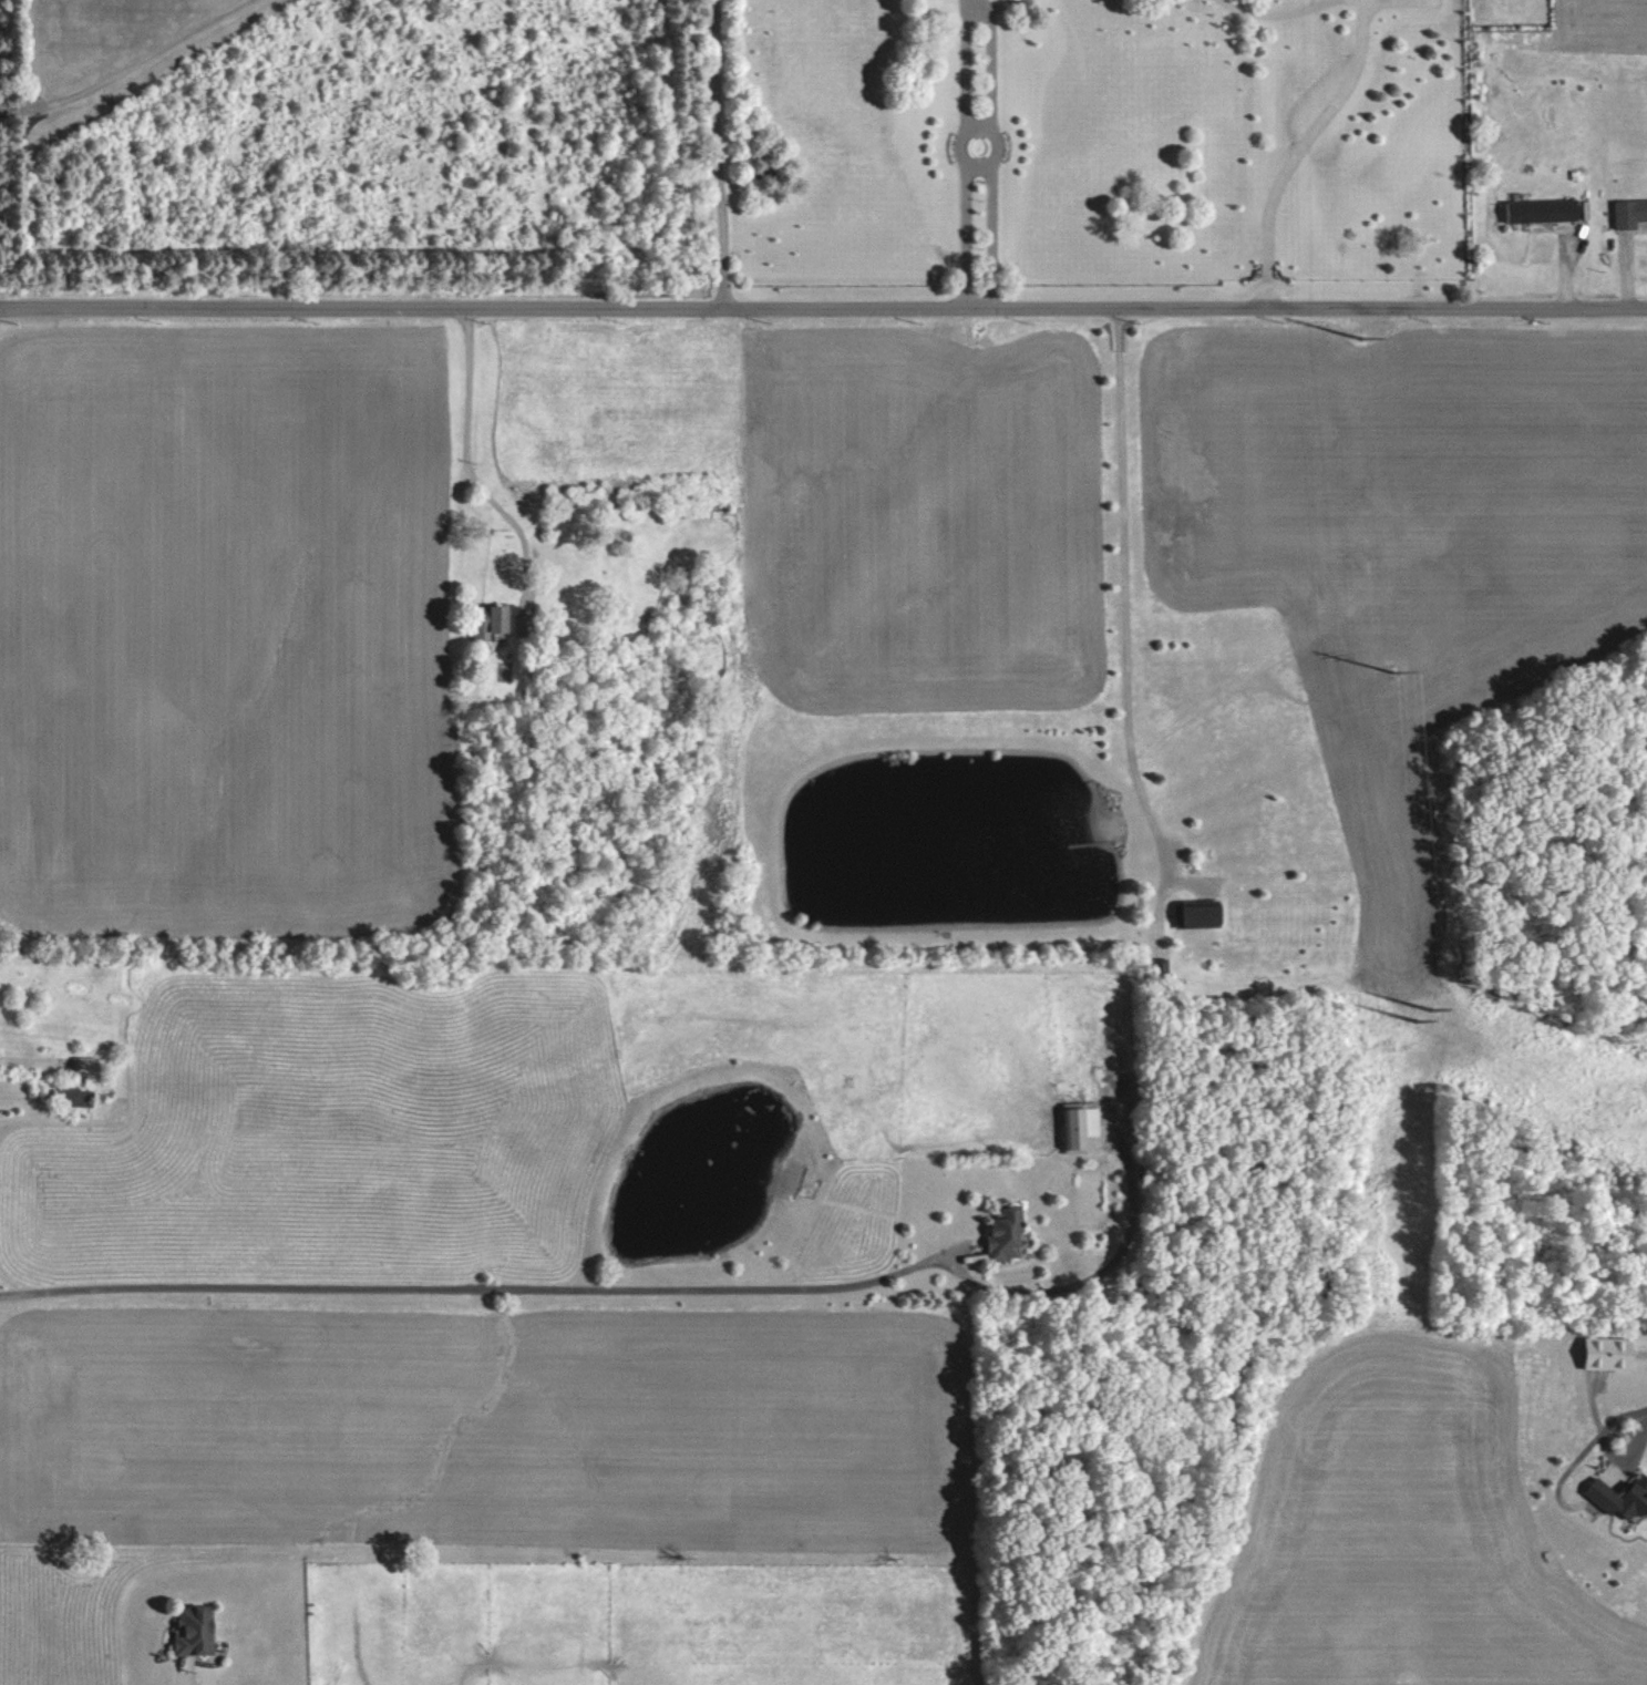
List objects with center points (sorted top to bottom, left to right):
road: (972, 9)
road: (990, 9)
road: (1278, 12)
road: (122, 63)
road: (1299, 148)
road: (718, 154)
road: (970, 162)
building: (1629, 208)
road: (823, 308)
power tower: (1358, 333)
road: (466, 451)
road: (1121, 588)
building: (494, 621)
building: (522, 626)
power tower: (1387, 666)
building: (1201, 914)
power tower: (1412, 1014)
building: (86, 1067)
building: (68, 1096)
building: (1080, 1126)
building: (1006, 1234)
road: (480, 1290)
road: (1641, 1357)
road: (1637, 1437)
building: (196, 1630)
road: (184, 1679)

